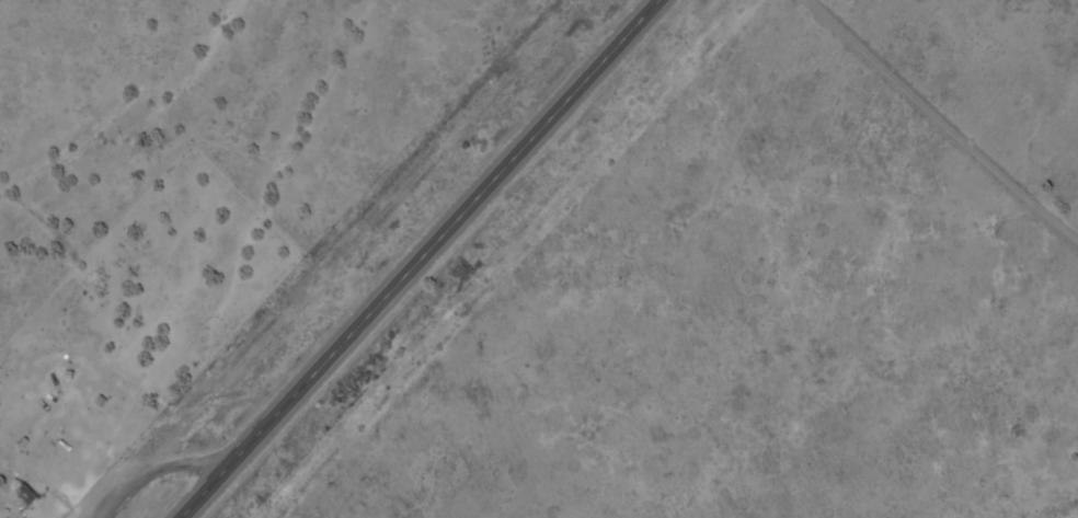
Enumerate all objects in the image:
road: (944, 114)
road: (417, 258)
building: (24, 496)

